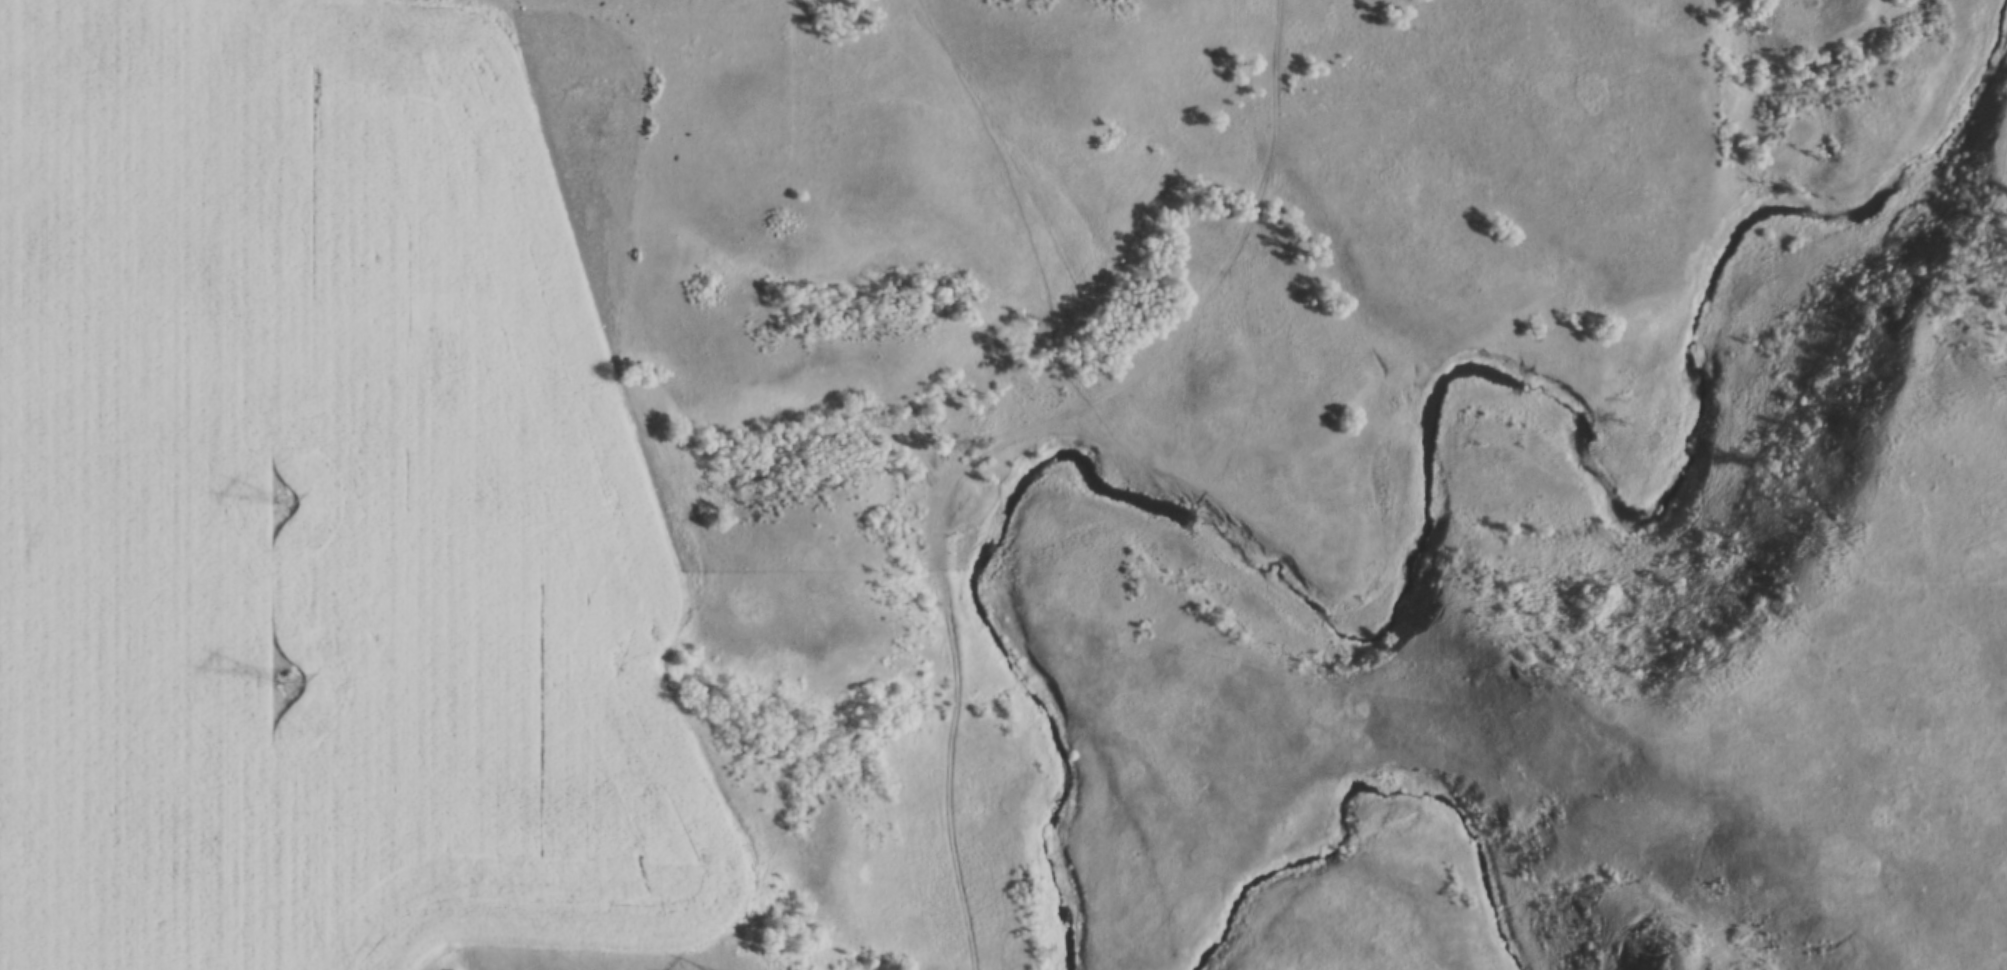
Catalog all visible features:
road: (1010, 446)
power tower: (273, 502)
power tower: (285, 690)

